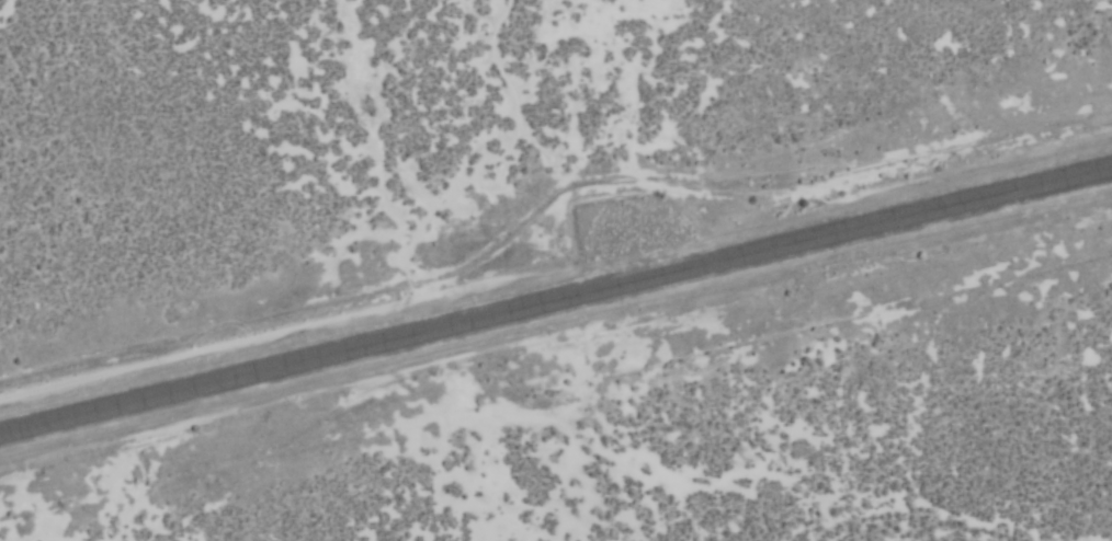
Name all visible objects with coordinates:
airport: (556, 270)
road: (556, 308)

